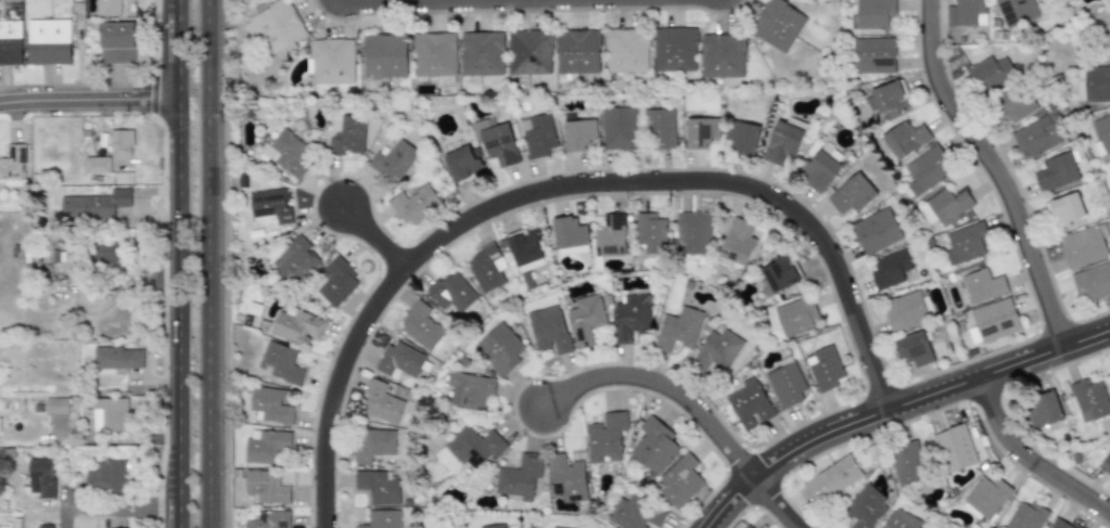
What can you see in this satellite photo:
road: (410, 2)
building: (109, 8)
road: (177, 8)
building: (1016, 11)
building: (970, 12)
building: (873, 13)
building: (777, 24)
building: (276, 27)
building: (49, 41)
building: (11, 42)
building: (117, 42)
building: (674, 49)
building: (626, 50)
building: (530, 51)
building: (577, 51)
building: (482, 53)
building: (435, 54)
road: (178, 55)
building: (385, 55)
building: (722, 55)
building: (873, 55)
building: (332, 61)
building: (990, 73)
road: (89, 98)
building: (886, 98)
building: (1013, 105)
building: (618, 127)
building: (661, 128)
building: (701, 131)
building: (1102, 132)
building: (537, 134)
building: (579, 134)
building: (348, 136)
building: (742, 137)
building: (1035, 137)
building: (904, 138)
building: (783, 140)
building: (496, 141)
building: (120, 142)
building: (285, 153)
building: (395, 159)
building: (12, 163)
building: (462, 163)
building: (97, 165)
building: (819, 170)
building: (924, 170)
road: (995, 170)
building: (1056, 171)
road: (559, 186)
building: (851, 194)
building: (416, 204)
building: (948, 204)
building: (94, 205)
building: (269, 207)
building: (1066, 209)
building: (876, 231)
road: (365, 232)
building: (651, 232)
building: (693, 233)
building: (611, 235)
building: (966, 242)
building: (737, 243)
building: (1083, 245)
building: (525, 248)
building: (111, 254)
building: (296, 260)
road: (208, 263)
building: (486, 268)
building: (890, 268)
building: (780, 272)
building: (335, 282)
building: (1092, 282)
building: (982, 285)
building: (452, 292)
building: (905, 310)
road: (179, 311)
building: (795, 315)
building: (631, 317)
building: (586, 319)
building: (993, 321)
building: (296, 326)
building: (421, 326)
building: (550, 329)
building: (678, 329)
building: (500, 348)
building: (717, 350)
building: (118, 358)
building: (399, 360)
building: (280, 362)
building: (824, 368)
road: (656, 381)
building: (786, 385)
building: (469, 390)
building: (1089, 399)
building: (382, 403)
building: (56, 405)
building: (270, 405)
building: (750, 405)
road: (892, 408)
building: (1044, 409)
building: (111, 414)
building: (605, 437)
building: (373, 443)
building: (267, 446)
building: (653, 446)
building: (474, 447)
building: (956, 448)
building: (907, 463)
building: (1106, 463)
road: (1025, 466)
building: (107, 476)
building: (520, 476)
building: (43, 477)
building: (566, 478)
building: (831, 478)
building: (679, 480)
building: (265, 486)
building: (379, 486)
building: (986, 497)
road: (769, 500)
road: (124, 506)
building: (864, 508)
building: (636, 513)
building: (1025, 516)
building: (382, 518)
building: (270, 519)
building: (900, 519)
building: (1058, 524)
building: (47, 526)
building: (493, 526)
building: (748, 526)
building: (556, 527)
building: (930, 527)

